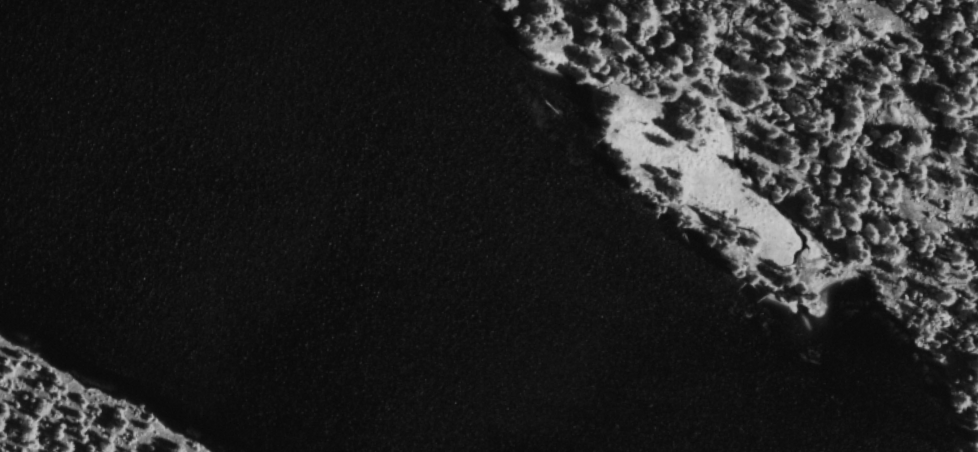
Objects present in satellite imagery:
road: (689, 104)

